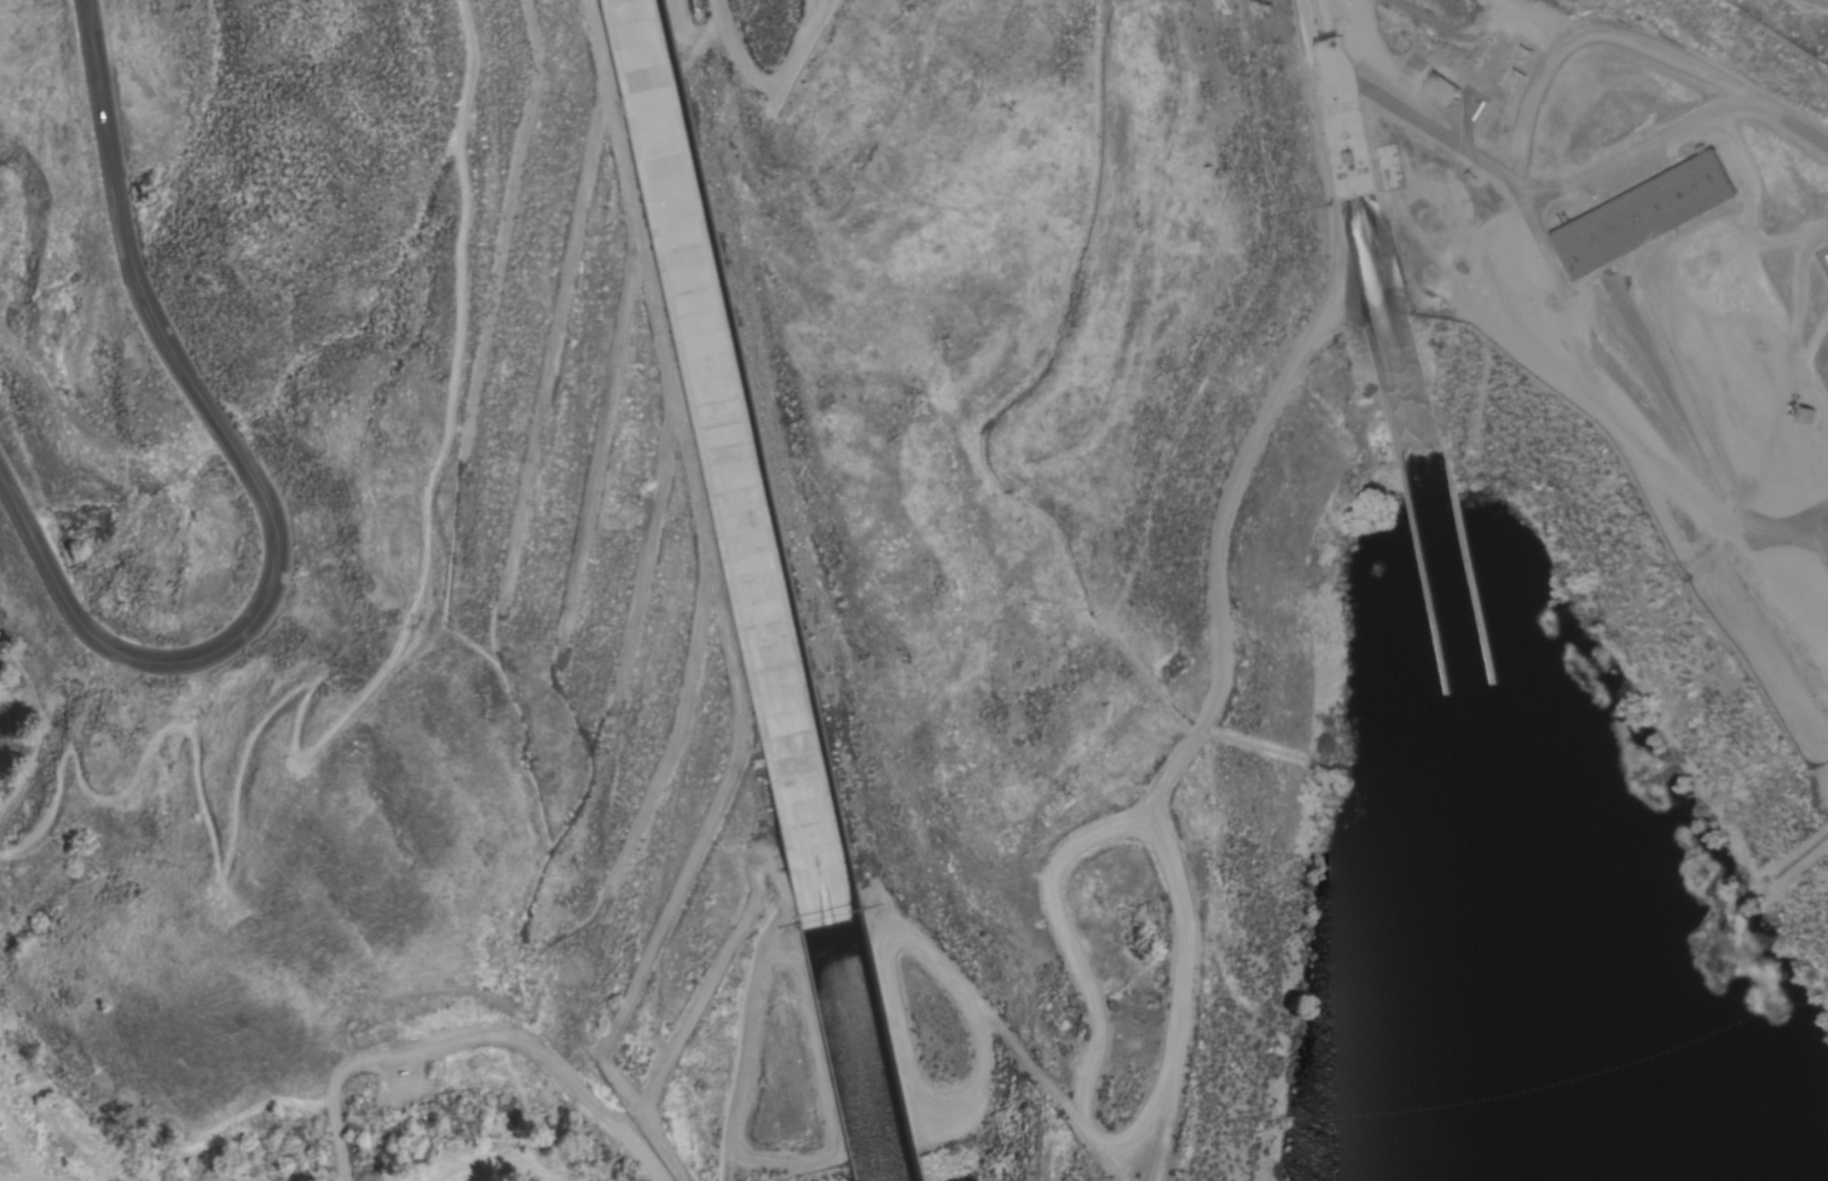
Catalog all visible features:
building: (1442, 89)
building: (1343, 111)
building: (1644, 214)
building: (1806, 415)
road: (256, 481)
park: (259, 607)
road: (303, 757)
park: (1557, 1021)
road: (480, 1164)
road: (44, 1176)

